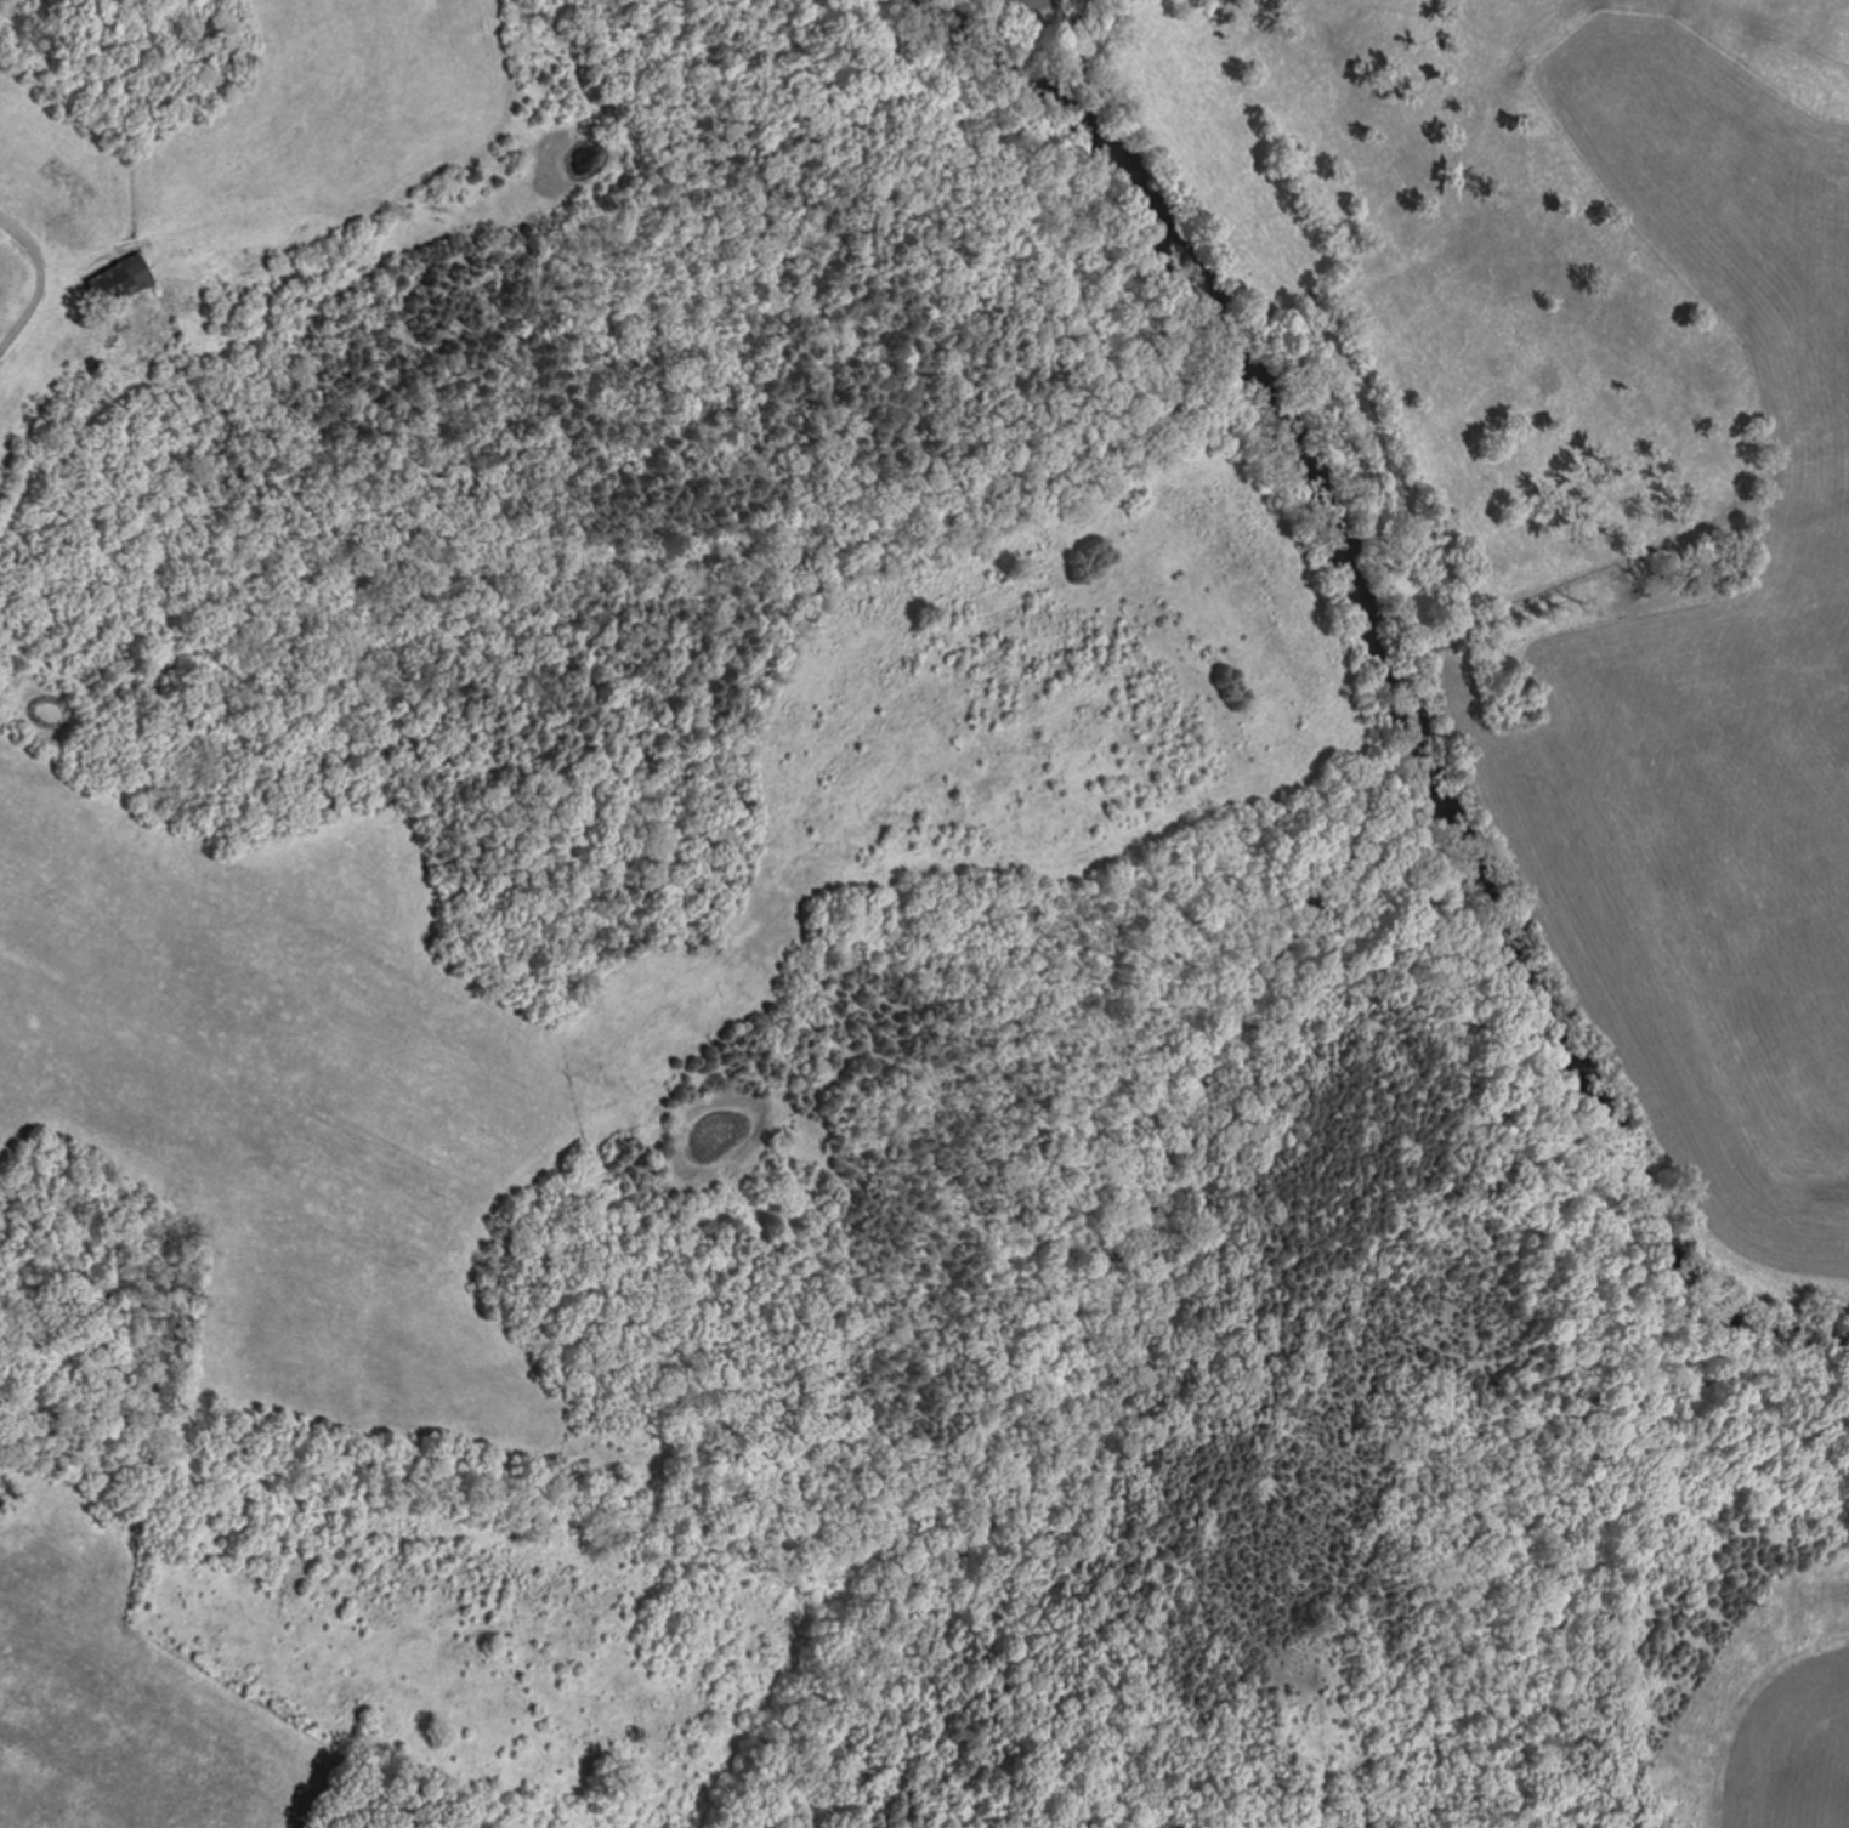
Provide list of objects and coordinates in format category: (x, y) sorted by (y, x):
building: (115, 282)
road: (35, 284)
river: (1390, 676)

